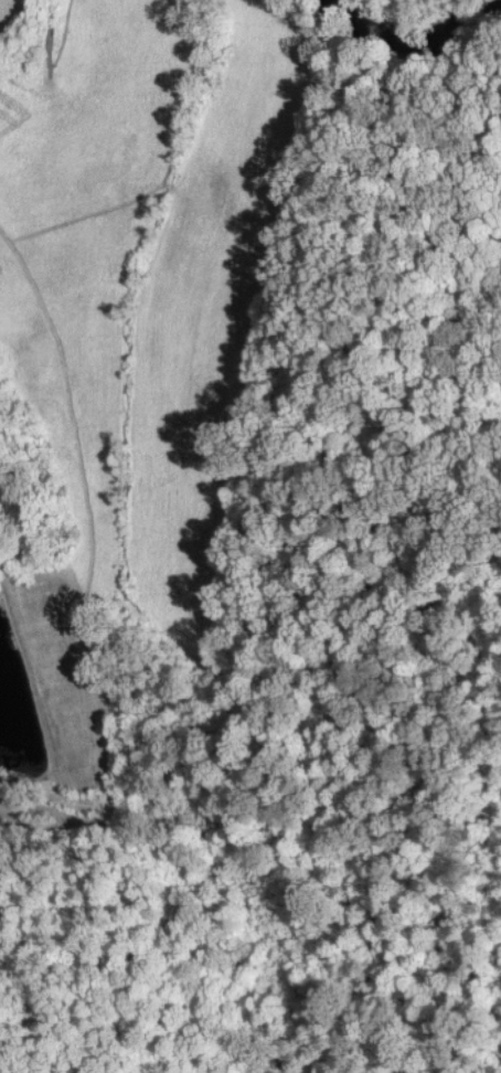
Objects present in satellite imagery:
river: (415, 36)

